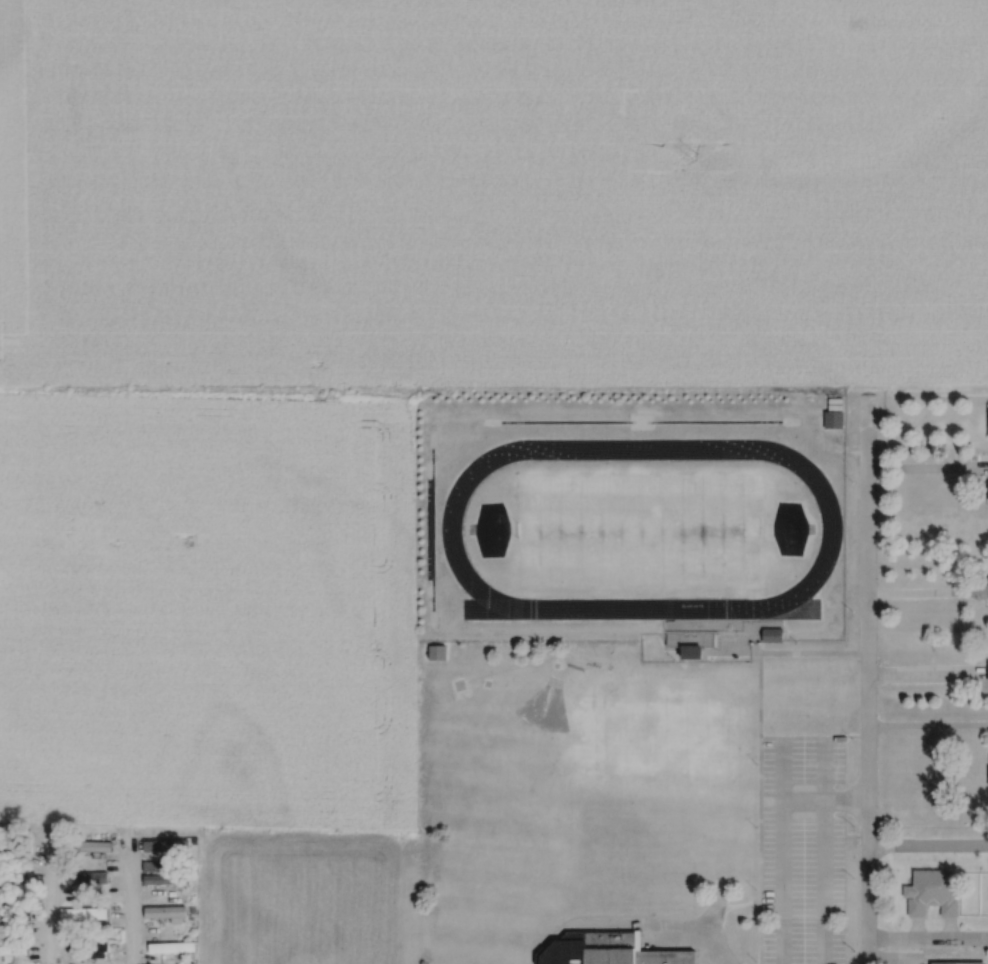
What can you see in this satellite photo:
power tower: (694, 154)
road: (924, 406)
building: (836, 419)
road: (929, 468)
park: (642, 527)
track: (833, 533)
road: (929, 594)
road: (801, 656)
road: (929, 677)
road: (870, 699)
road: (929, 728)
road: (783, 839)
building: (12, 846)
building: (90, 846)
building: (170, 846)
road: (928, 847)
building: (151, 866)
road: (56, 872)
building: (168, 879)
road: (824, 882)
building: (16, 883)
building: (934, 892)
road: (133, 908)
building: (167, 912)
building: (85, 914)
building: (14, 918)
road: (928, 938)
building: (174, 947)
building: (14, 950)
building: (90, 950)
building: (612, 950)
road: (890, 963)
building: (954, 963)

